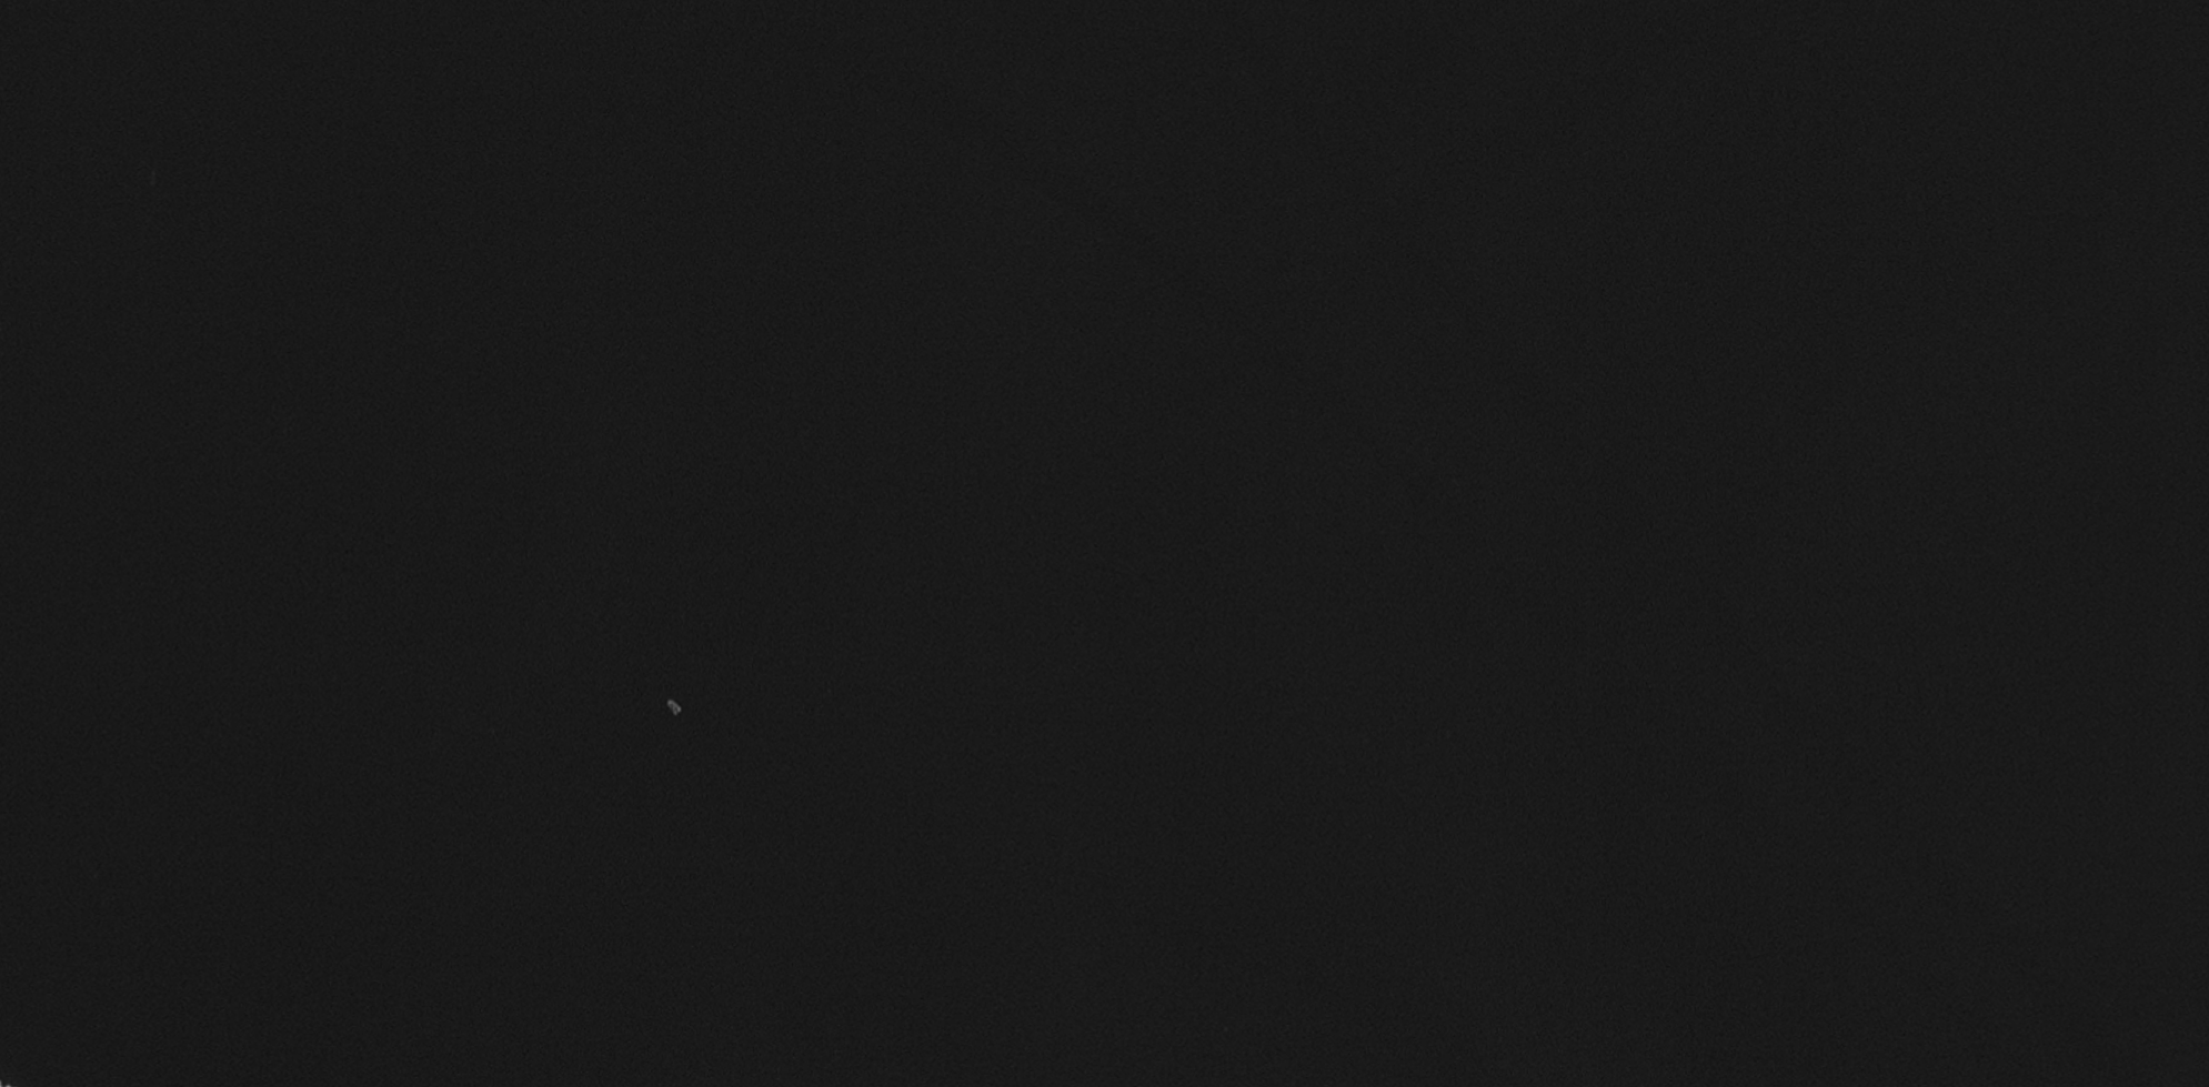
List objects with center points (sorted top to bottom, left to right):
river: (1910, 535)

